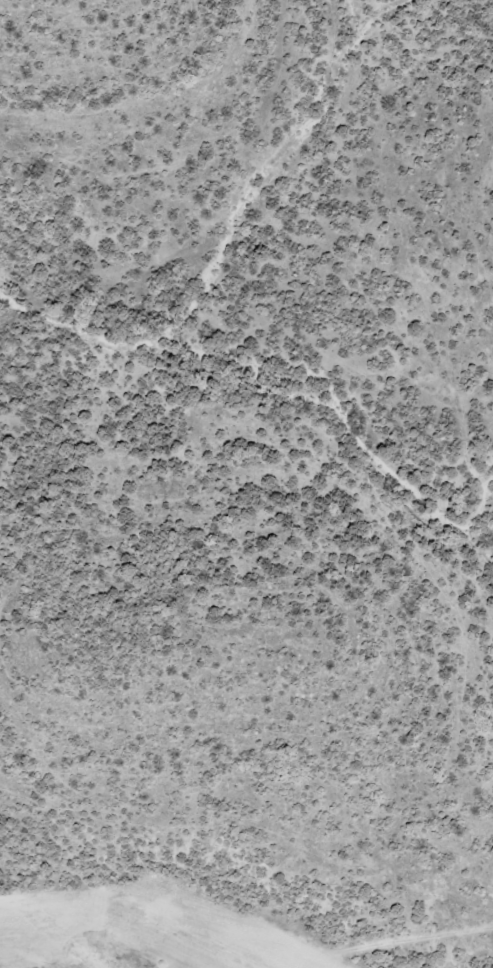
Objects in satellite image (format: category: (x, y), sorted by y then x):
road: (245, 959)

